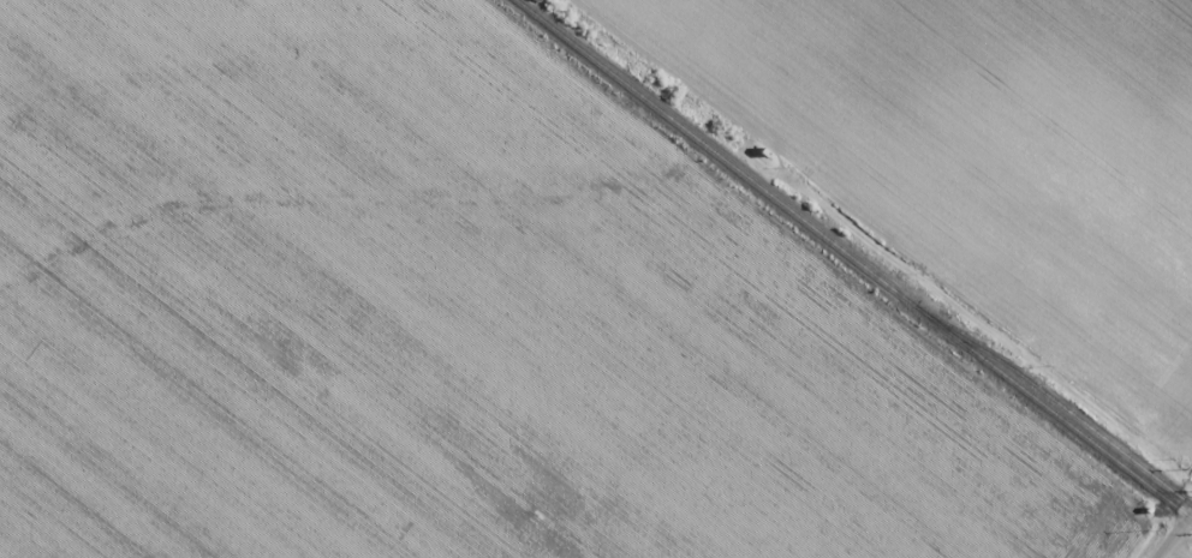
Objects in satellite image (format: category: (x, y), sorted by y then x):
crop: (984, 160)
railway: (851, 260)
crop: (446, 319)
railway: (1049, 396)
road: (1190, 518)
road: (1175, 534)

